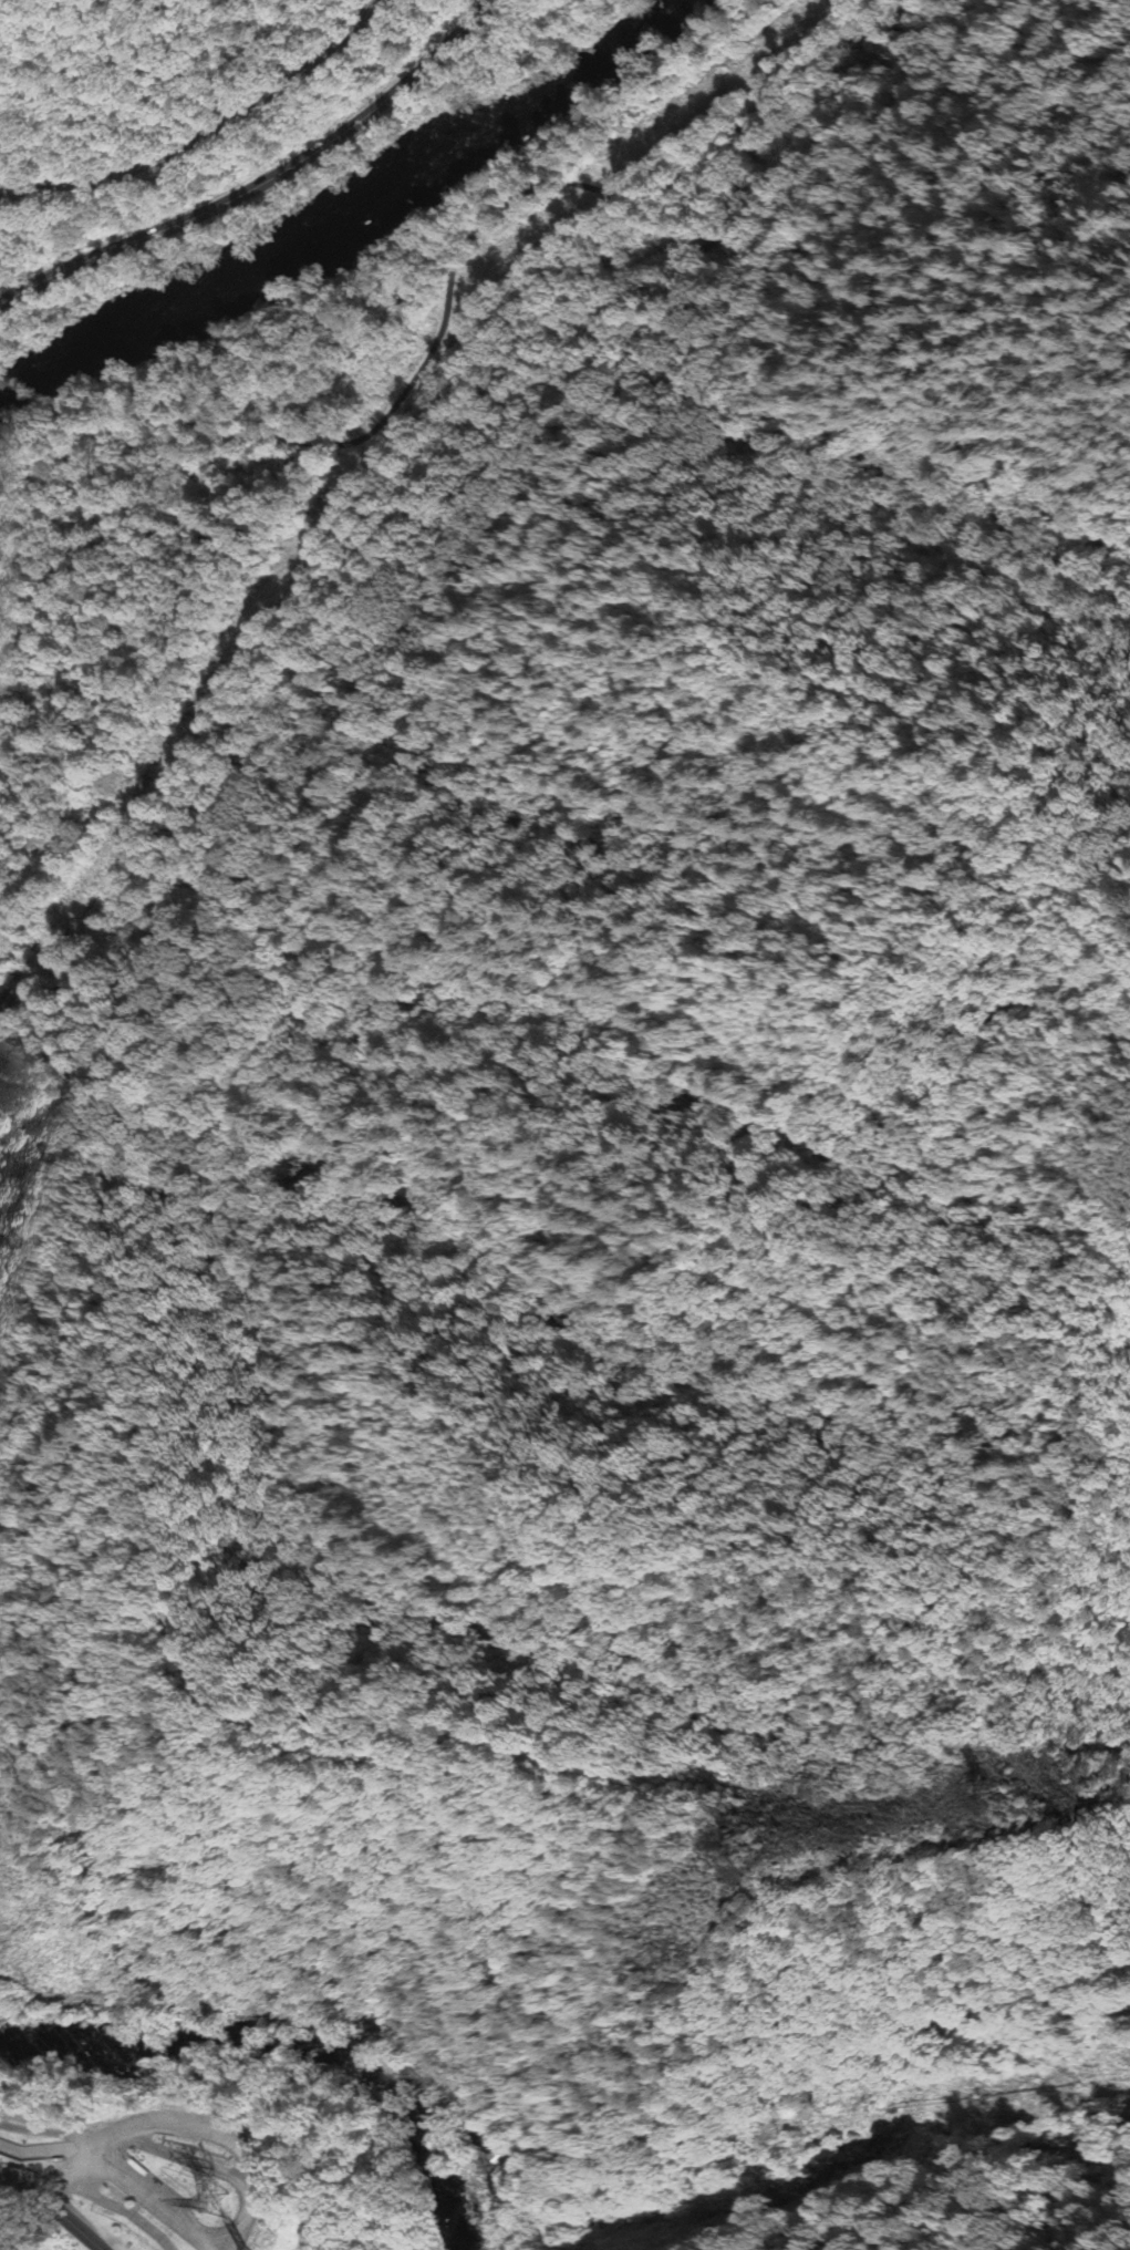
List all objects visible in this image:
railway: (207, 135)
river: (462, 147)
road: (265, 182)
road: (449, 297)
river: (112, 338)
power tower: (998, 1806)
power tower: (742, 1850)
road: (269, 2012)
river: (290, 2040)
road: (46, 2132)
road: (44, 2151)
road: (205, 2154)
road: (64, 2170)
road: (21, 2182)
parking lot: (162, 2185)
road: (138, 2195)
power tower: (224, 2209)
road: (71, 2222)

